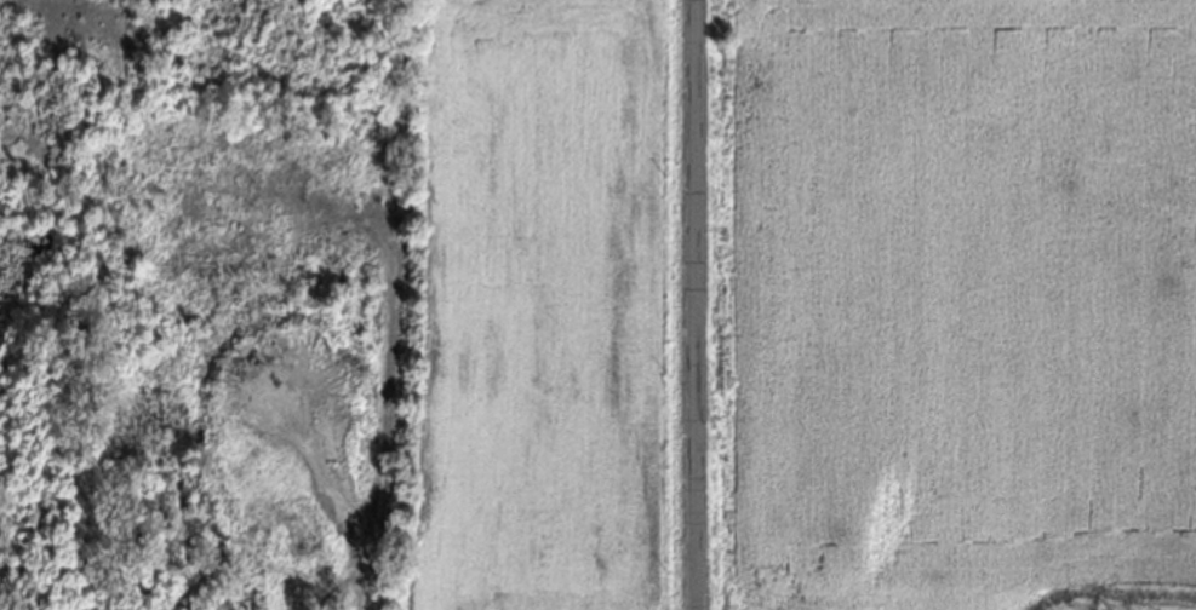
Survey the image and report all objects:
quarry: (194, 300)
road: (697, 304)

